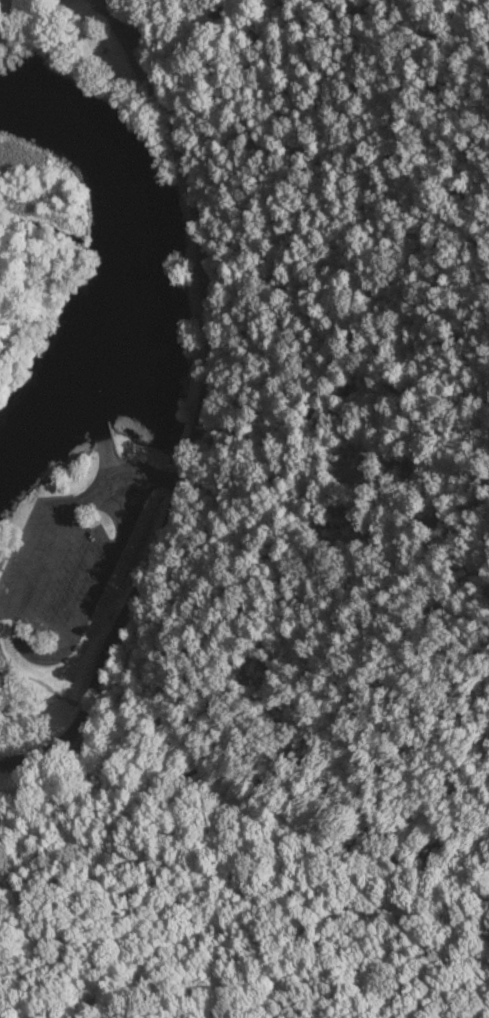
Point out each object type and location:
river: (131, 277)
road: (194, 403)
road: (165, 479)
parking lot: (72, 549)
road: (26, 647)

